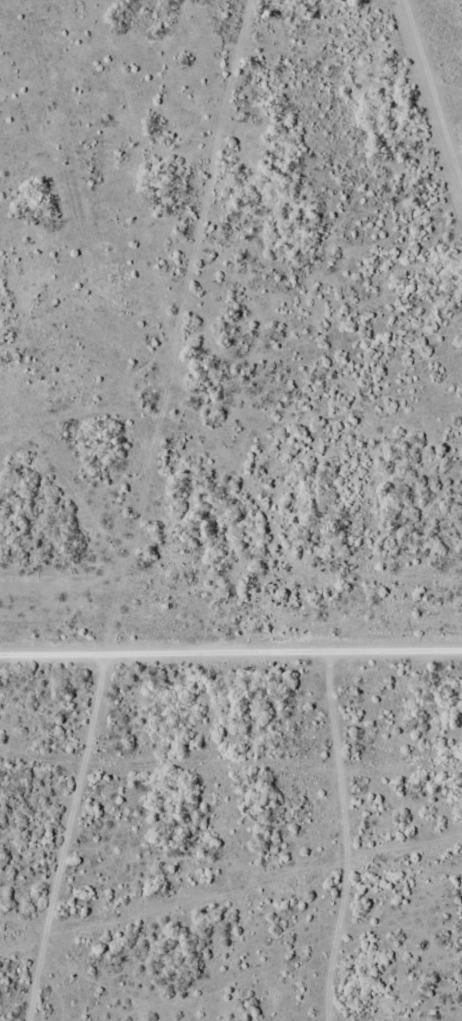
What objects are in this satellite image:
road: (231, 654)

